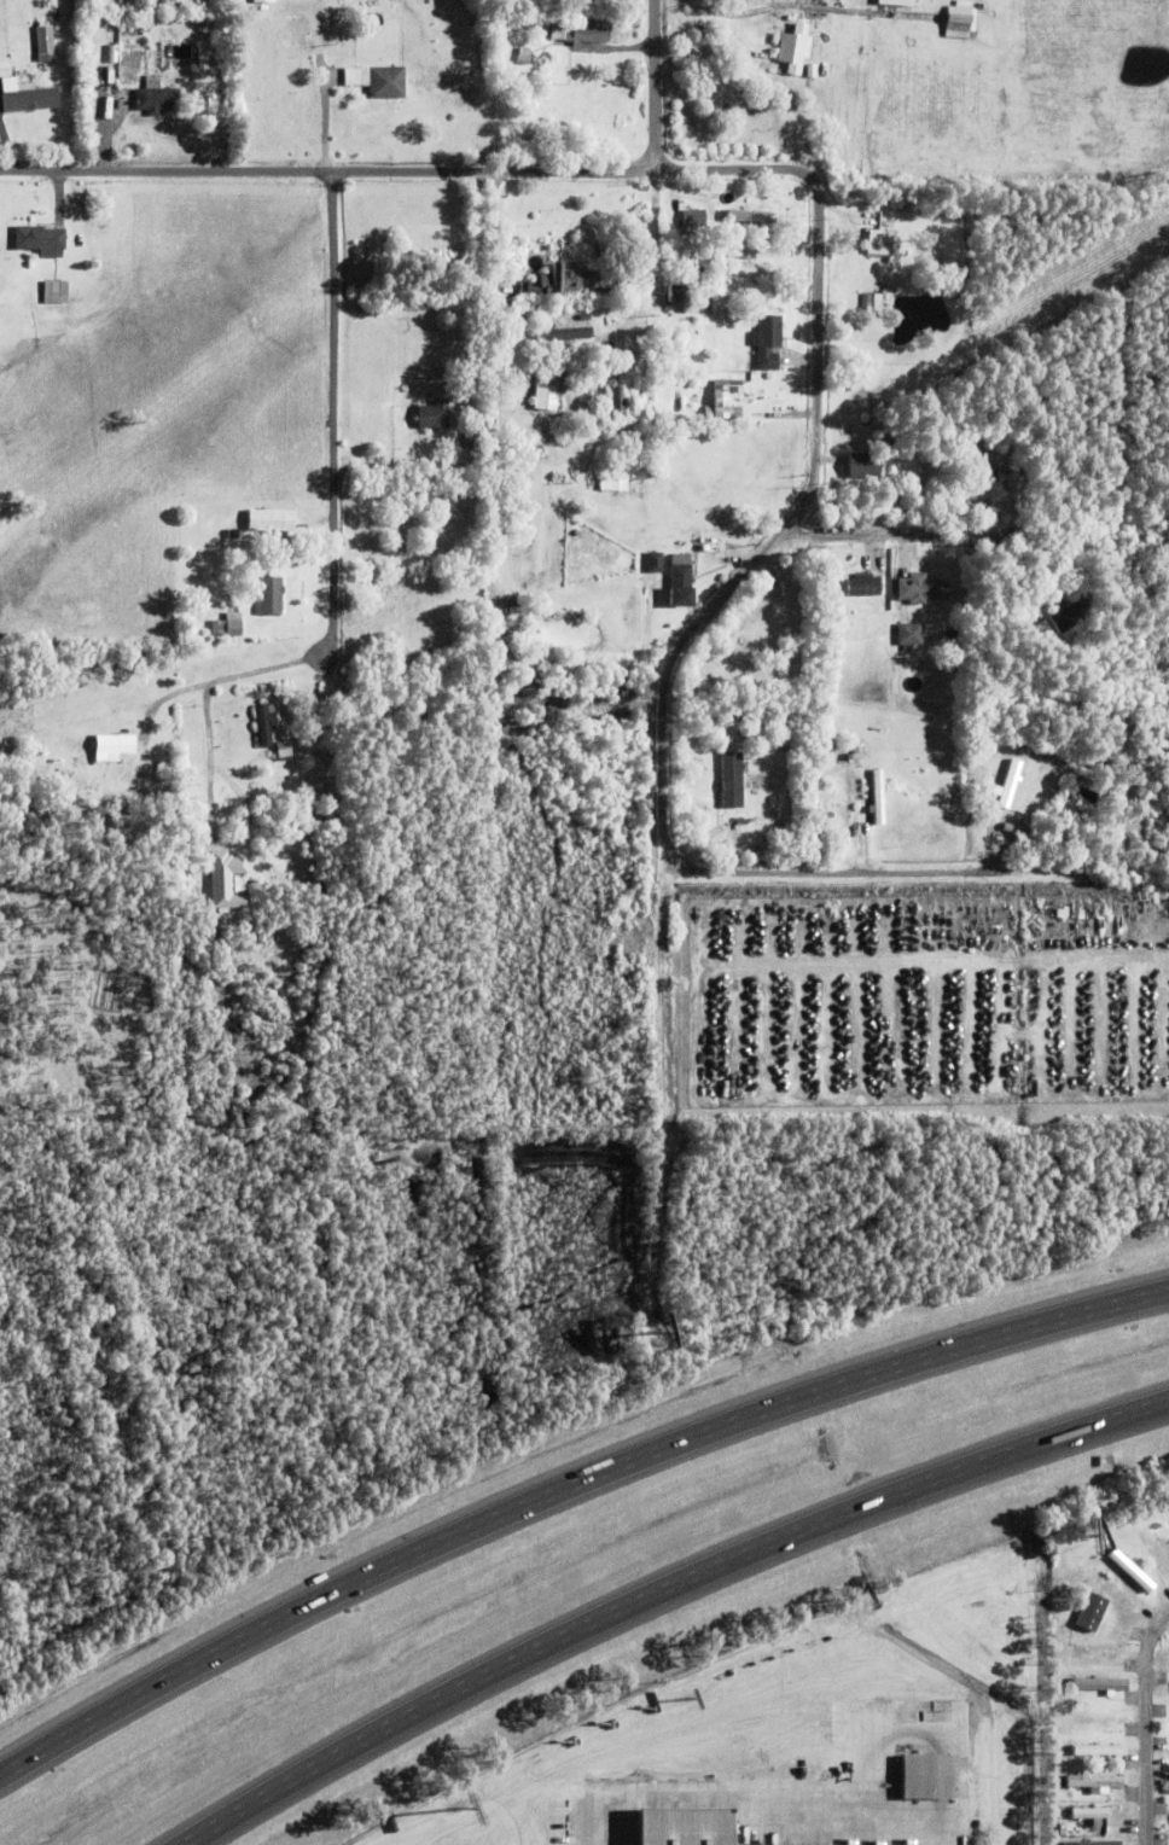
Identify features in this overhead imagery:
building: (266, 0)
building: (896, 2)
road: (777, 5)
building: (787, 17)
building: (961, 21)
building: (583, 31)
building: (42, 42)
building: (795, 48)
building: (522, 56)
building: (812, 70)
building: (111, 78)
building: (377, 80)
road: (656, 85)
building: (155, 97)
building: (29, 98)
building: (118, 106)
road: (324, 120)
road: (994, 190)
building: (754, 202)
building: (752, 215)
building: (670, 217)
building: (694, 217)
road: (656, 229)
building: (41, 240)
building: (883, 243)
road: (494, 269)
building: (749, 269)
building: (566, 279)
building: (524, 287)
building: (56, 292)
building: (613, 292)
building: (677, 293)
building: (866, 302)
building: (569, 336)
building: (768, 341)
road: (818, 385)
building: (546, 388)
building: (618, 401)
building: (725, 401)
building: (436, 415)
road: (332, 421)
building: (475, 438)
building: (866, 464)
building: (985, 473)
building: (615, 483)
building: (518, 505)
building: (272, 523)
road: (975, 532)
building: (233, 534)
building: (711, 545)
building: (471, 559)
building: (656, 563)
building: (877, 566)
building: (681, 582)
building: (865, 586)
building: (920, 589)
building: (268, 594)
building: (1074, 613)
building: (502, 615)
building: (231, 625)
building: (911, 635)
building: (505, 638)
building: (715, 671)
road: (164, 704)
building: (264, 724)
building: (284, 752)
building: (75, 755)
building: (849, 755)
road: (215, 761)
building: (118, 762)
building: (271, 768)
building: (141, 775)
building: (1013, 778)
building: (755, 779)
building: (732, 781)
building: (325, 788)
building: (82, 798)
building: (878, 799)
building: (1013, 831)
building: (228, 879)
road: (663, 985)
road: (565, 1482)
road: (664, 1593)
building: (1091, 1608)
building: (1065, 1625)
building: (1104, 1684)
building: (1098, 1715)
road: (1159, 1744)
building: (1097, 1747)
building: (1168, 1753)
road: (959, 1763)
building: (931, 1775)
building: (1094, 1779)
building: (1168, 1785)
road: (713, 1789)
building: (1088, 1811)
building: (1168, 1818)
building: (697, 1826)
building: (1092, 1841)

